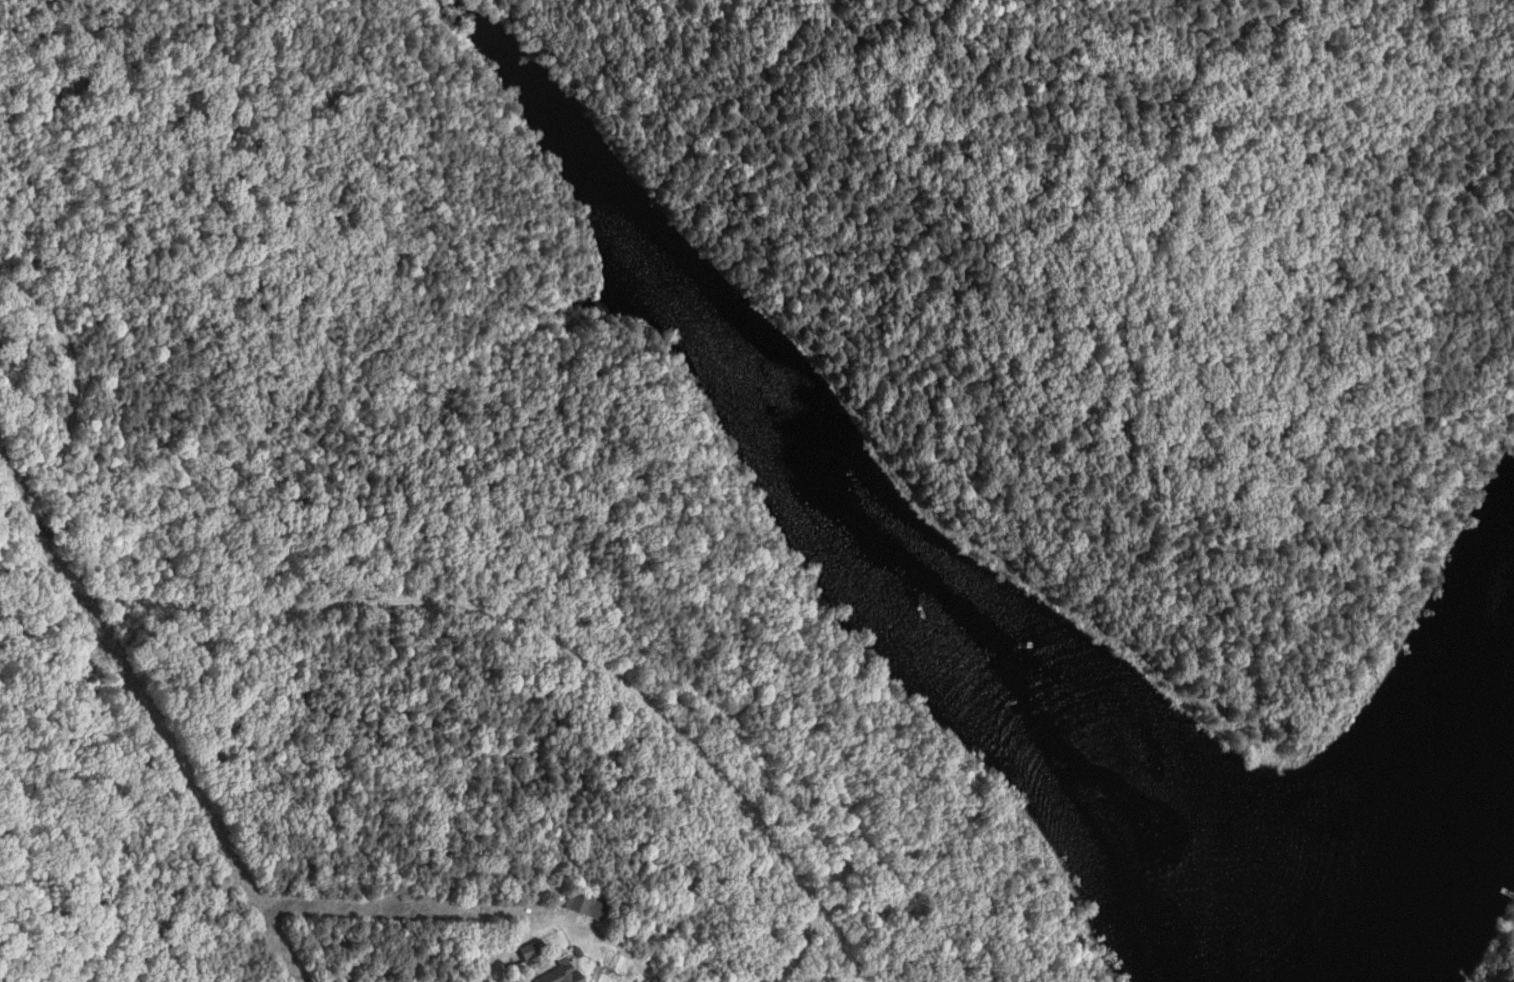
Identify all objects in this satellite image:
road: (1332, 6)
road: (370, 601)
building: (587, 906)
road: (560, 912)
road: (784, 943)
building: (531, 949)
building: (560, 972)

